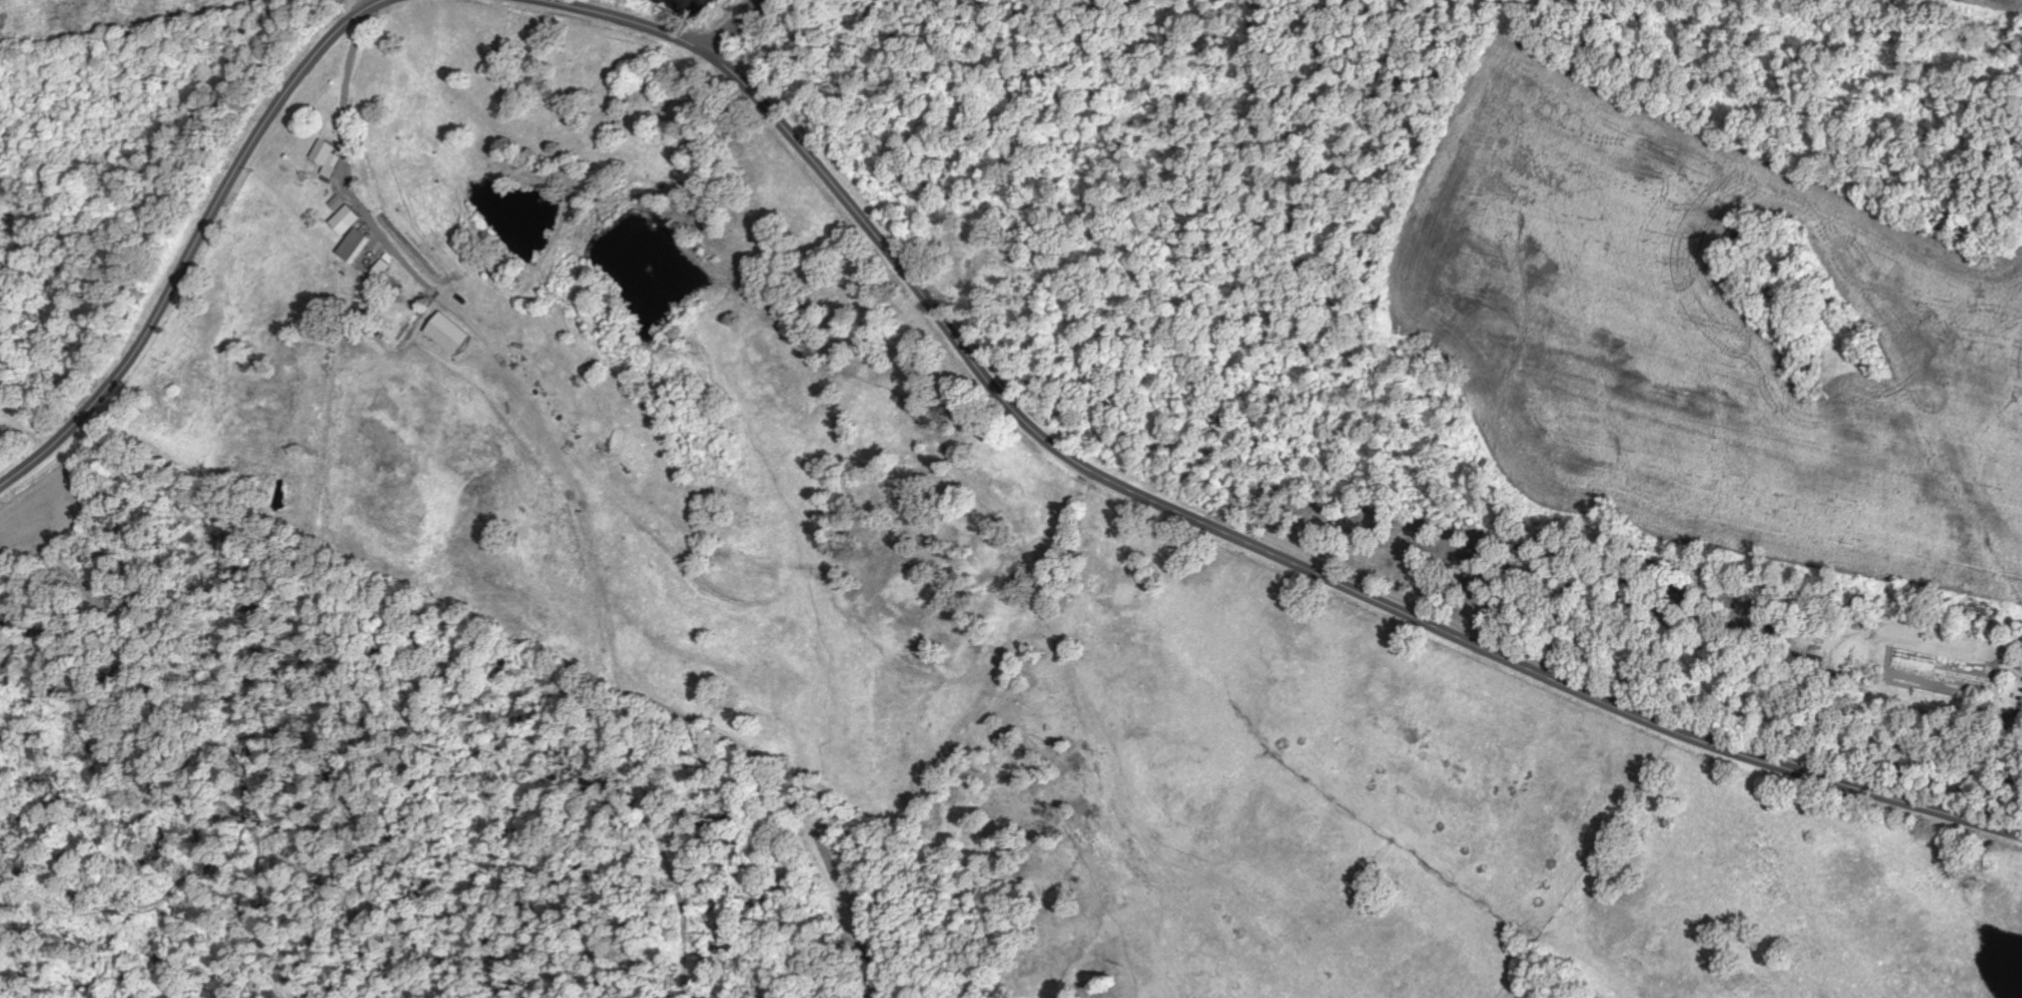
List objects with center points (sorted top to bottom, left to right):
road: (375, 2)
road: (729, 25)
building: (331, 157)
building: (342, 202)
building: (351, 219)
road: (195, 245)
building: (360, 245)
building: (453, 333)
road: (1204, 523)

